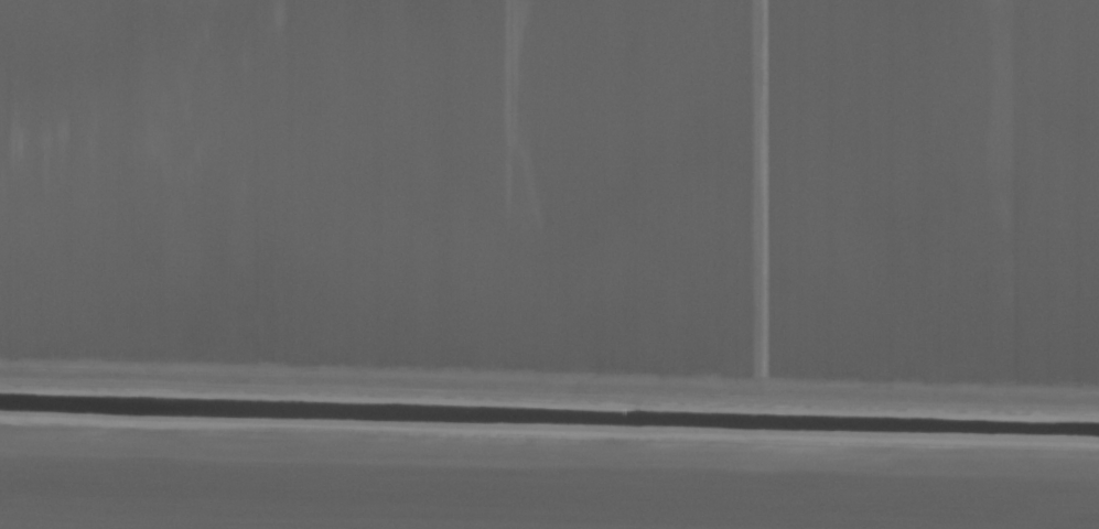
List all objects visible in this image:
crop: (549, 264)

